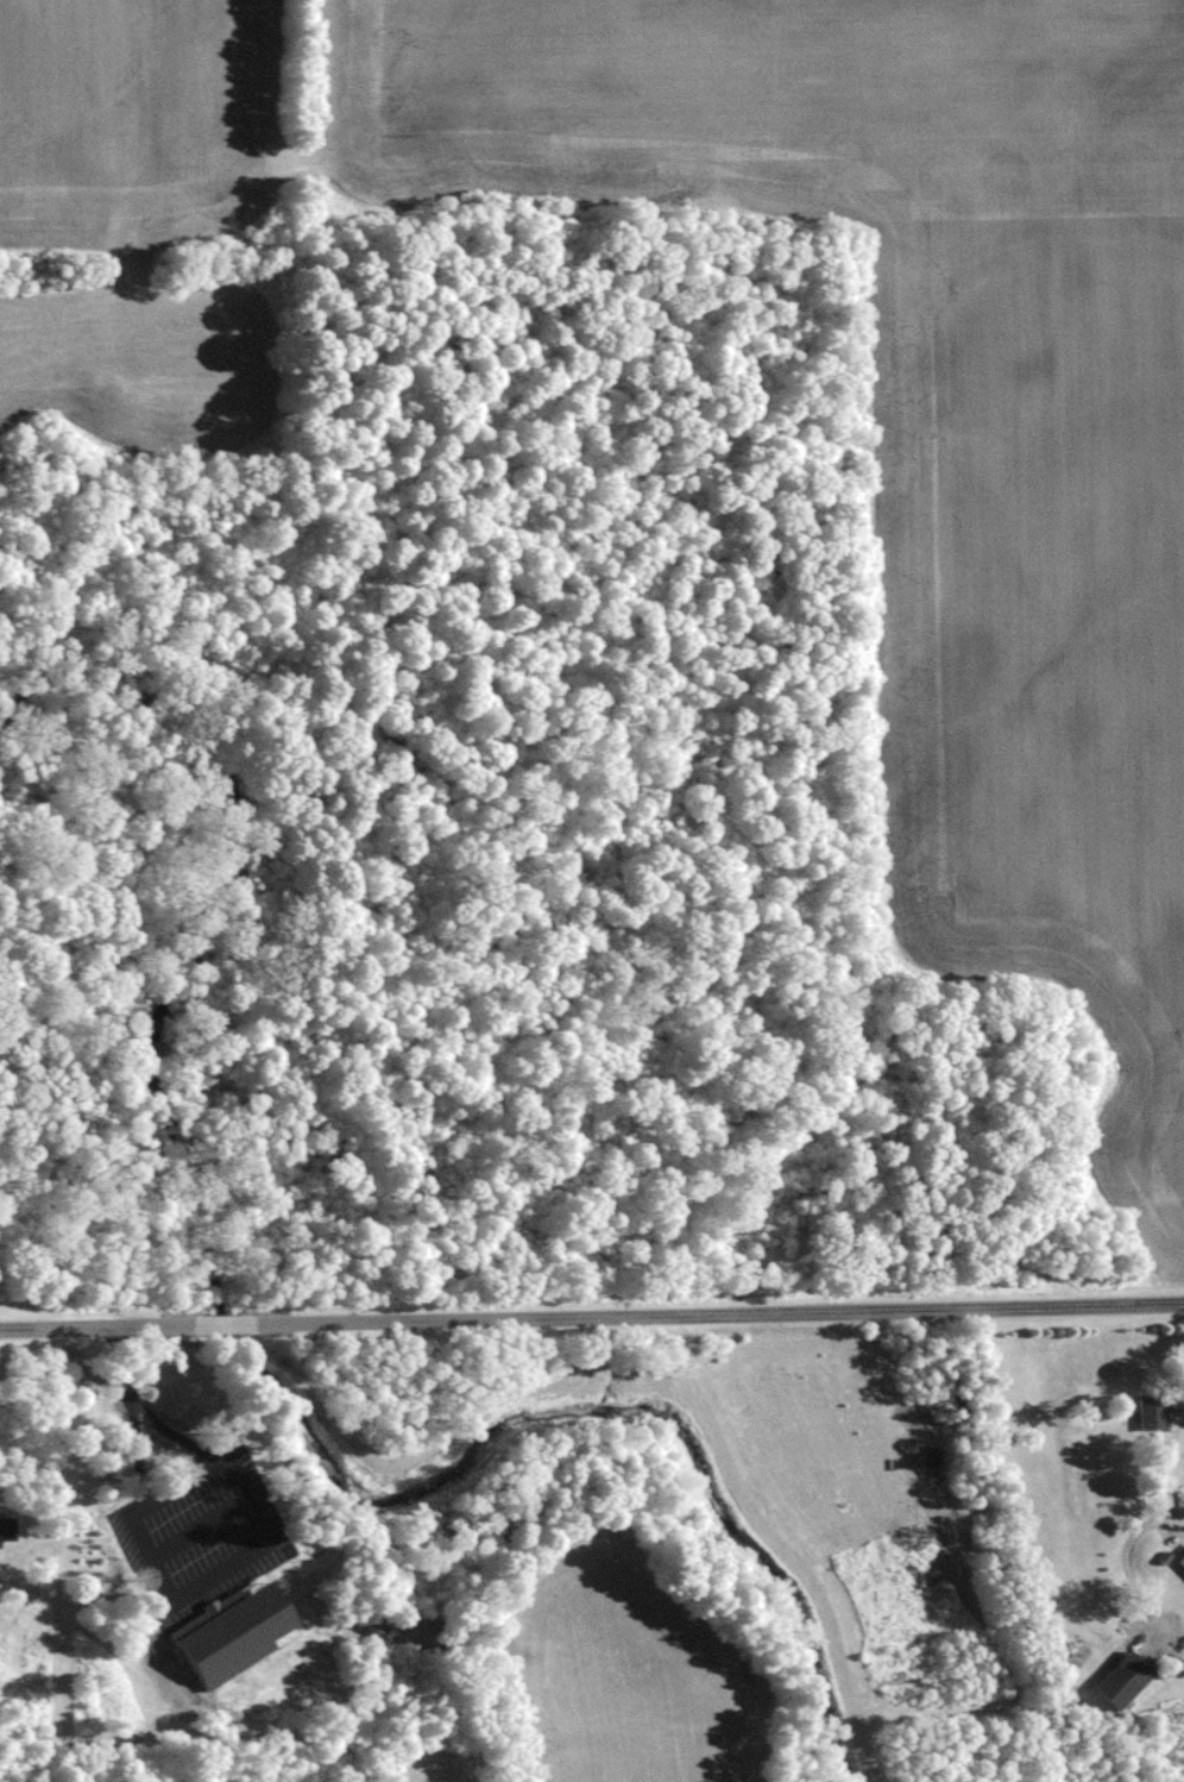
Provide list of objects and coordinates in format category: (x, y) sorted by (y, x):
road: (592, 1317)
building: (172, 1411)
building: (1152, 1412)
road: (1169, 1483)
building: (6, 1529)
building: (1180, 1561)
building: (1122, 1681)

